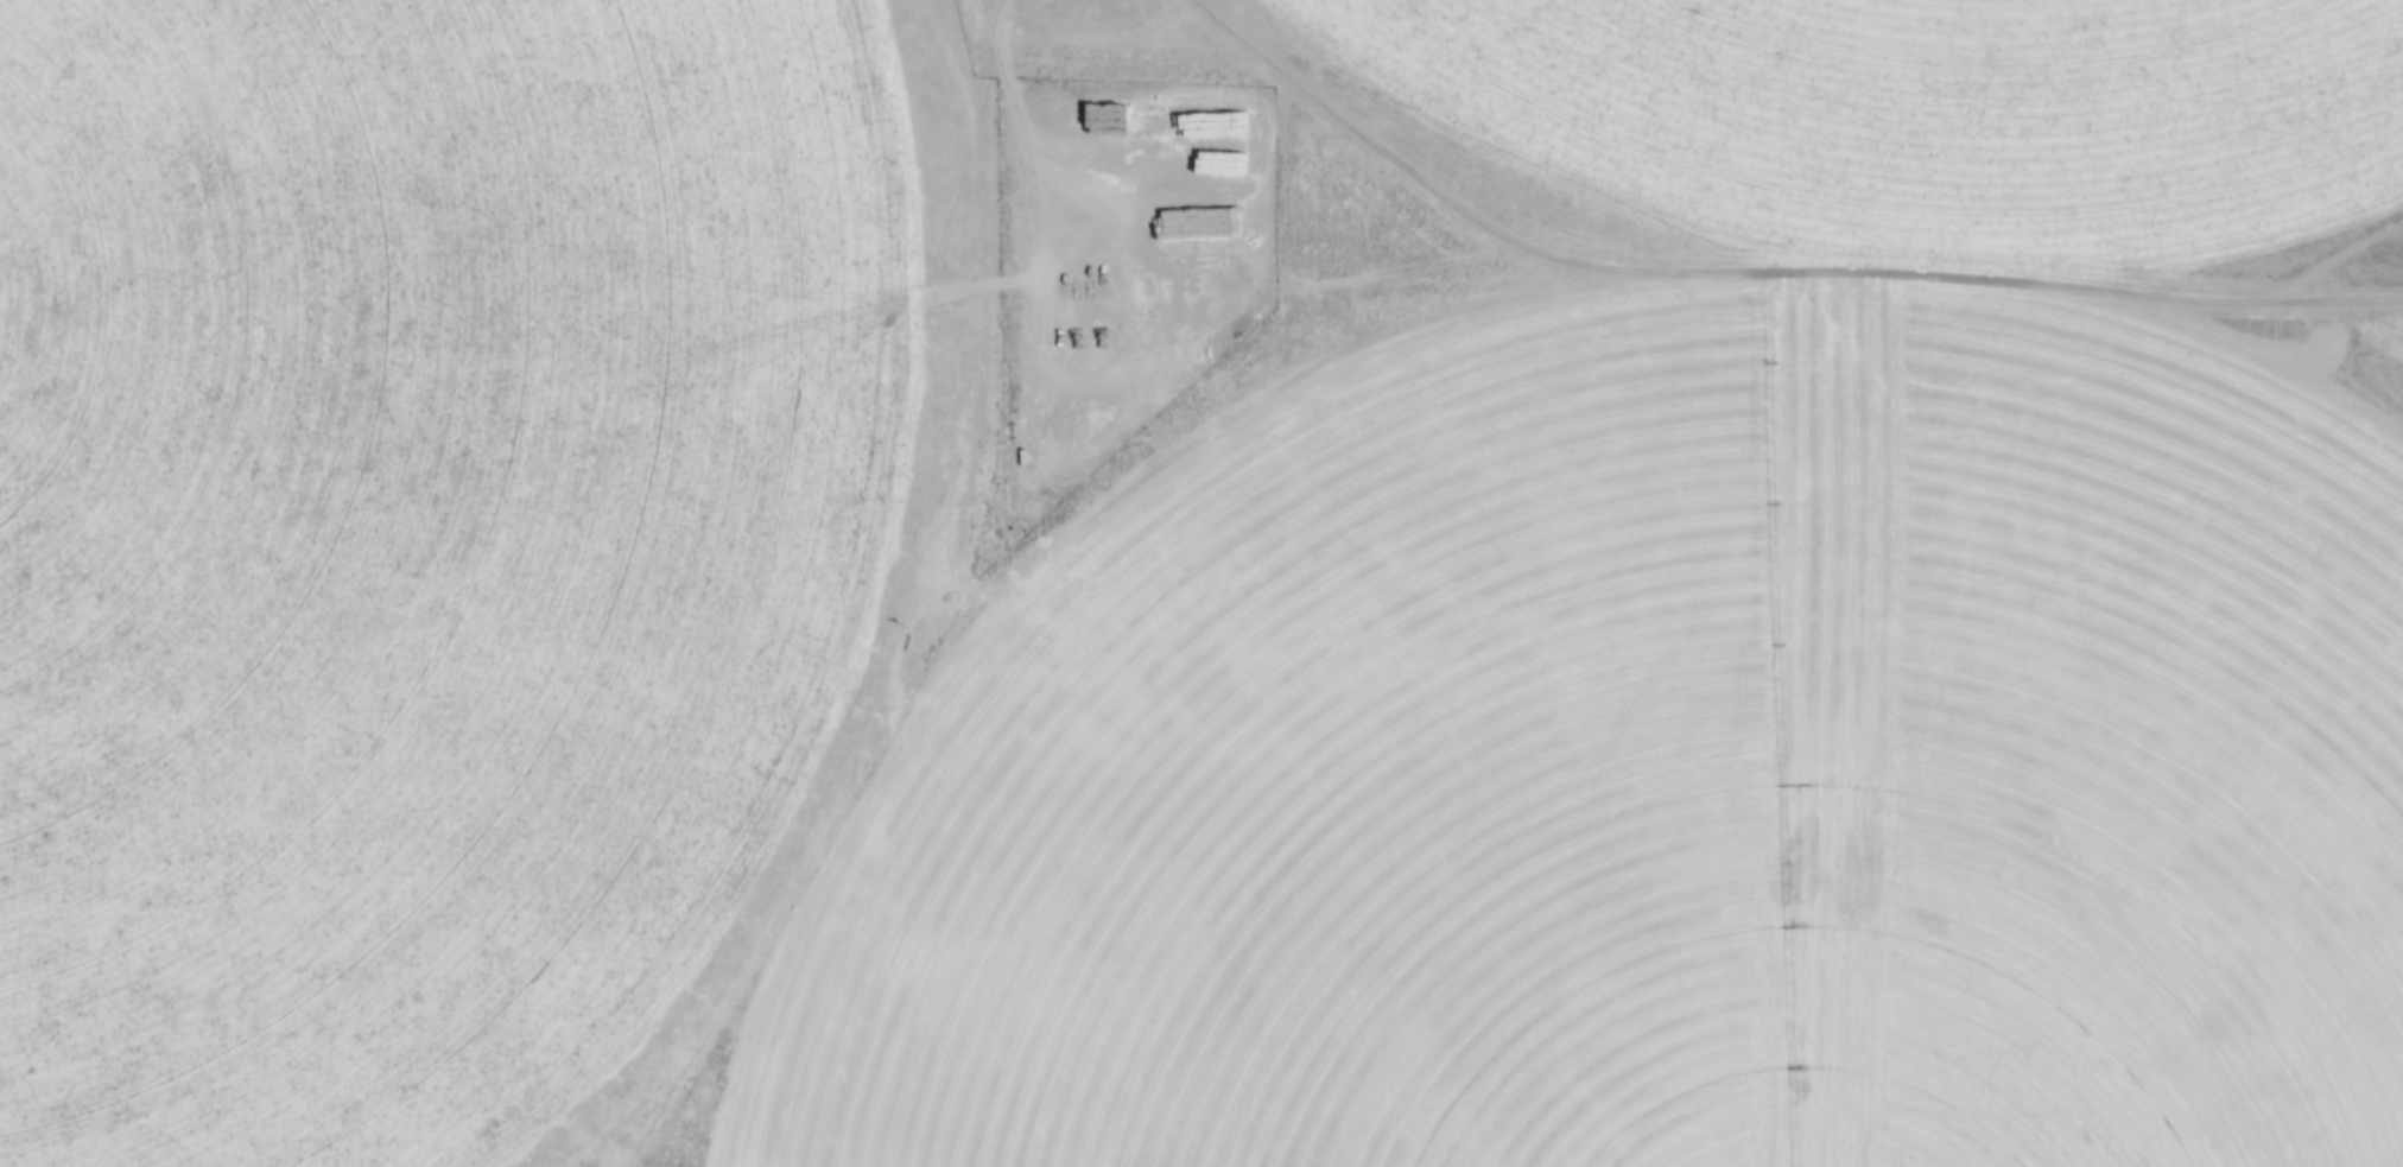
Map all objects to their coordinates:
road: (972, 118)
crop: (407, 537)
crop: (1660, 759)

